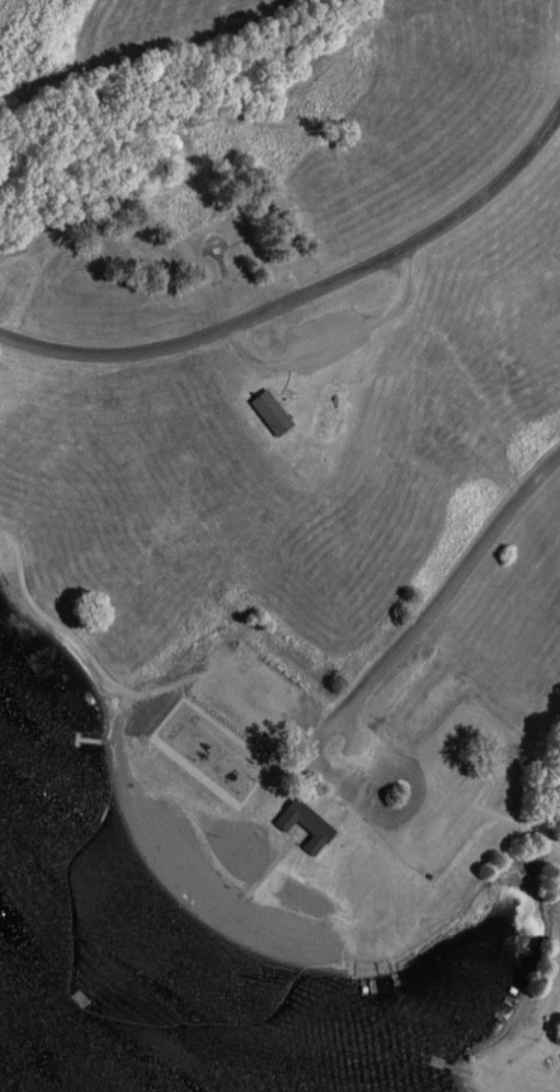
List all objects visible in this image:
road: (304, 291)
road: (335, 338)
building: (268, 412)
park: (299, 499)
road: (427, 621)
building: (304, 822)

